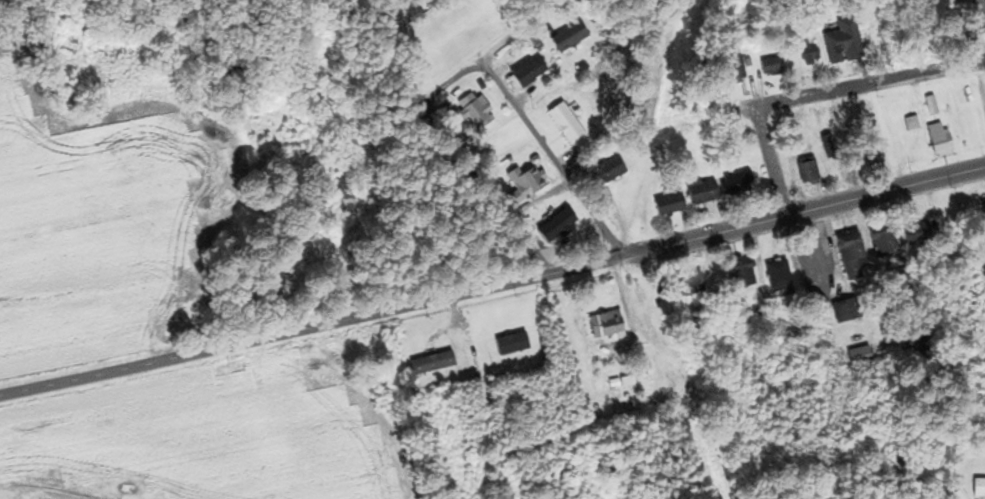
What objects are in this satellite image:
road: (982, 4)
building: (959, 35)
building: (565, 37)
building: (840, 43)
building: (805, 55)
building: (767, 66)
road: (467, 69)
building: (728, 69)
building: (523, 73)
road: (868, 84)
building: (927, 105)
building: (470, 109)
building: (562, 123)
building: (935, 139)
road: (550, 156)
road: (766, 160)
building: (803, 170)
building: (598, 172)
building: (522, 181)
building: (732, 183)
road: (484, 187)
building: (696, 191)
building: (664, 204)
building: (981, 213)
building: (541, 214)
road: (751, 222)
building: (914, 233)
building: (880, 239)
building: (846, 253)
building: (736, 271)
building: (774, 274)
building: (684, 282)
building: (841, 310)
building: (602, 324)
road: (259, 338)
building: (507, 343)
building: (855, 356)
building: (427, 363)
building: (977, 488)

